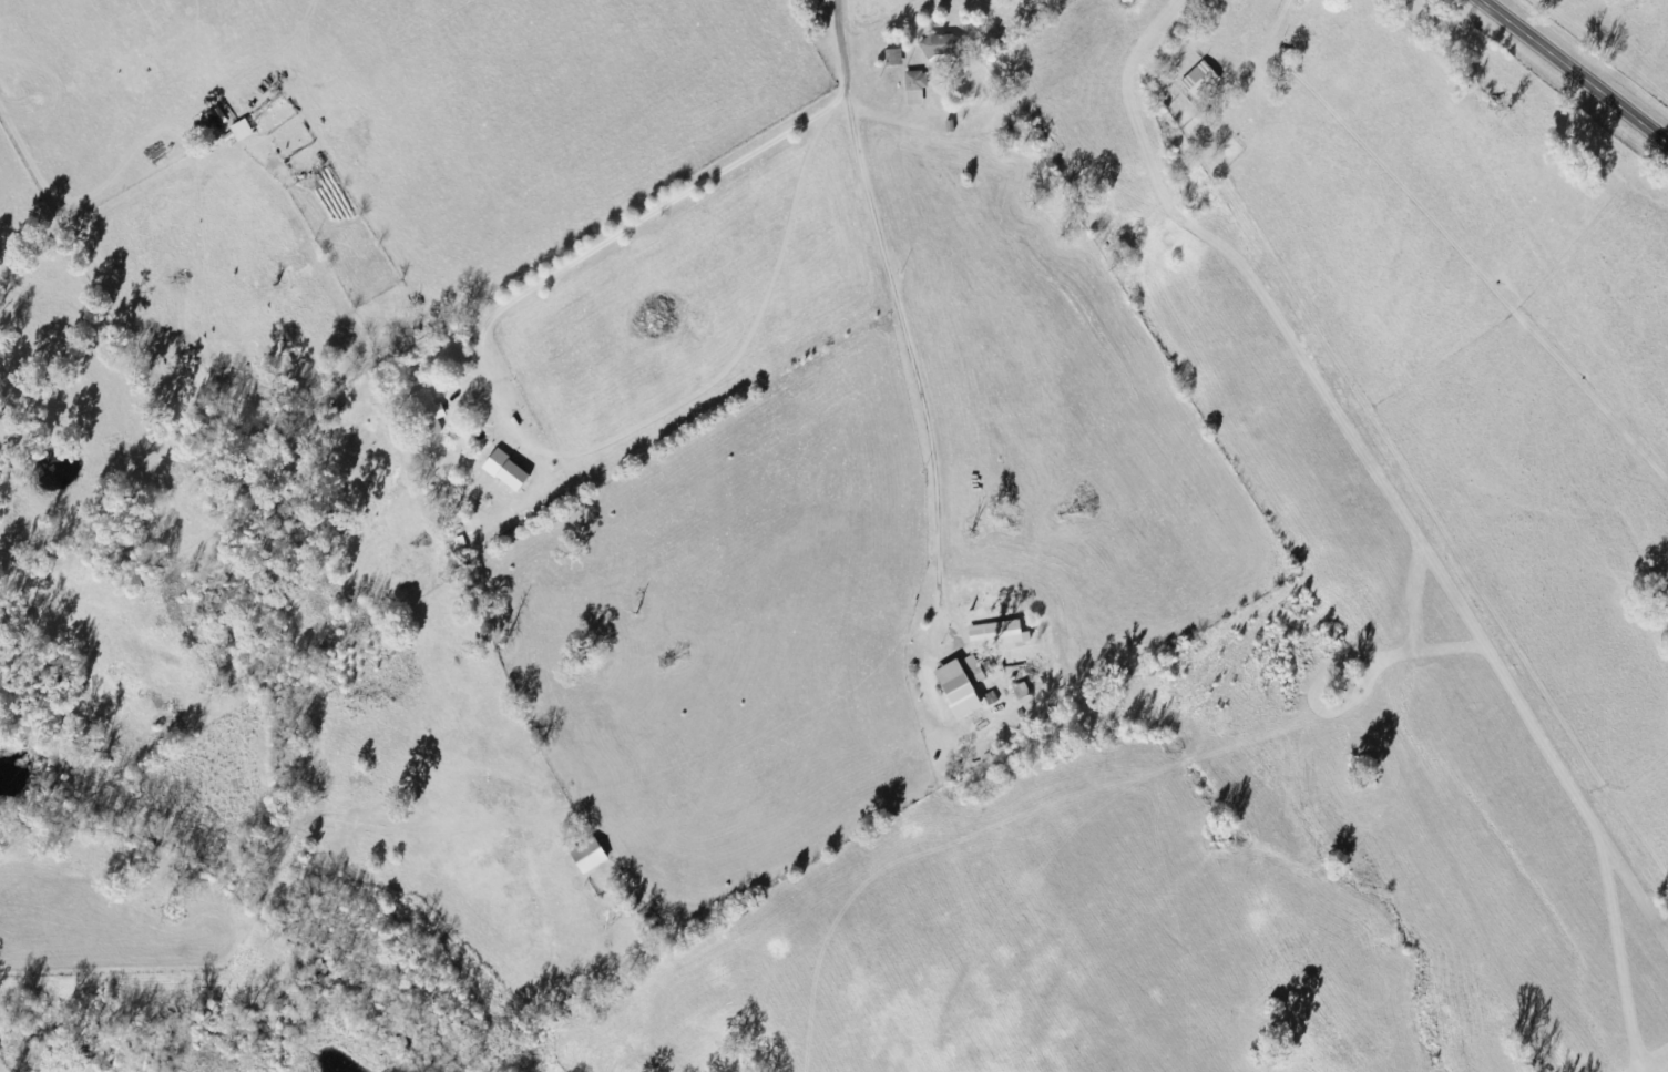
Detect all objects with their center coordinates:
building: (937, 45)
building: (892, 58)
road: (1573, 73)
building: (1198, 81)
building: (913, 89)
building: (239, 131)
building: (424, 414)
building: (503, 470)
building: (995, 635)
building: (971, 670)
building: (954, 688)
building: (989, 698)
building: (585, 856)

